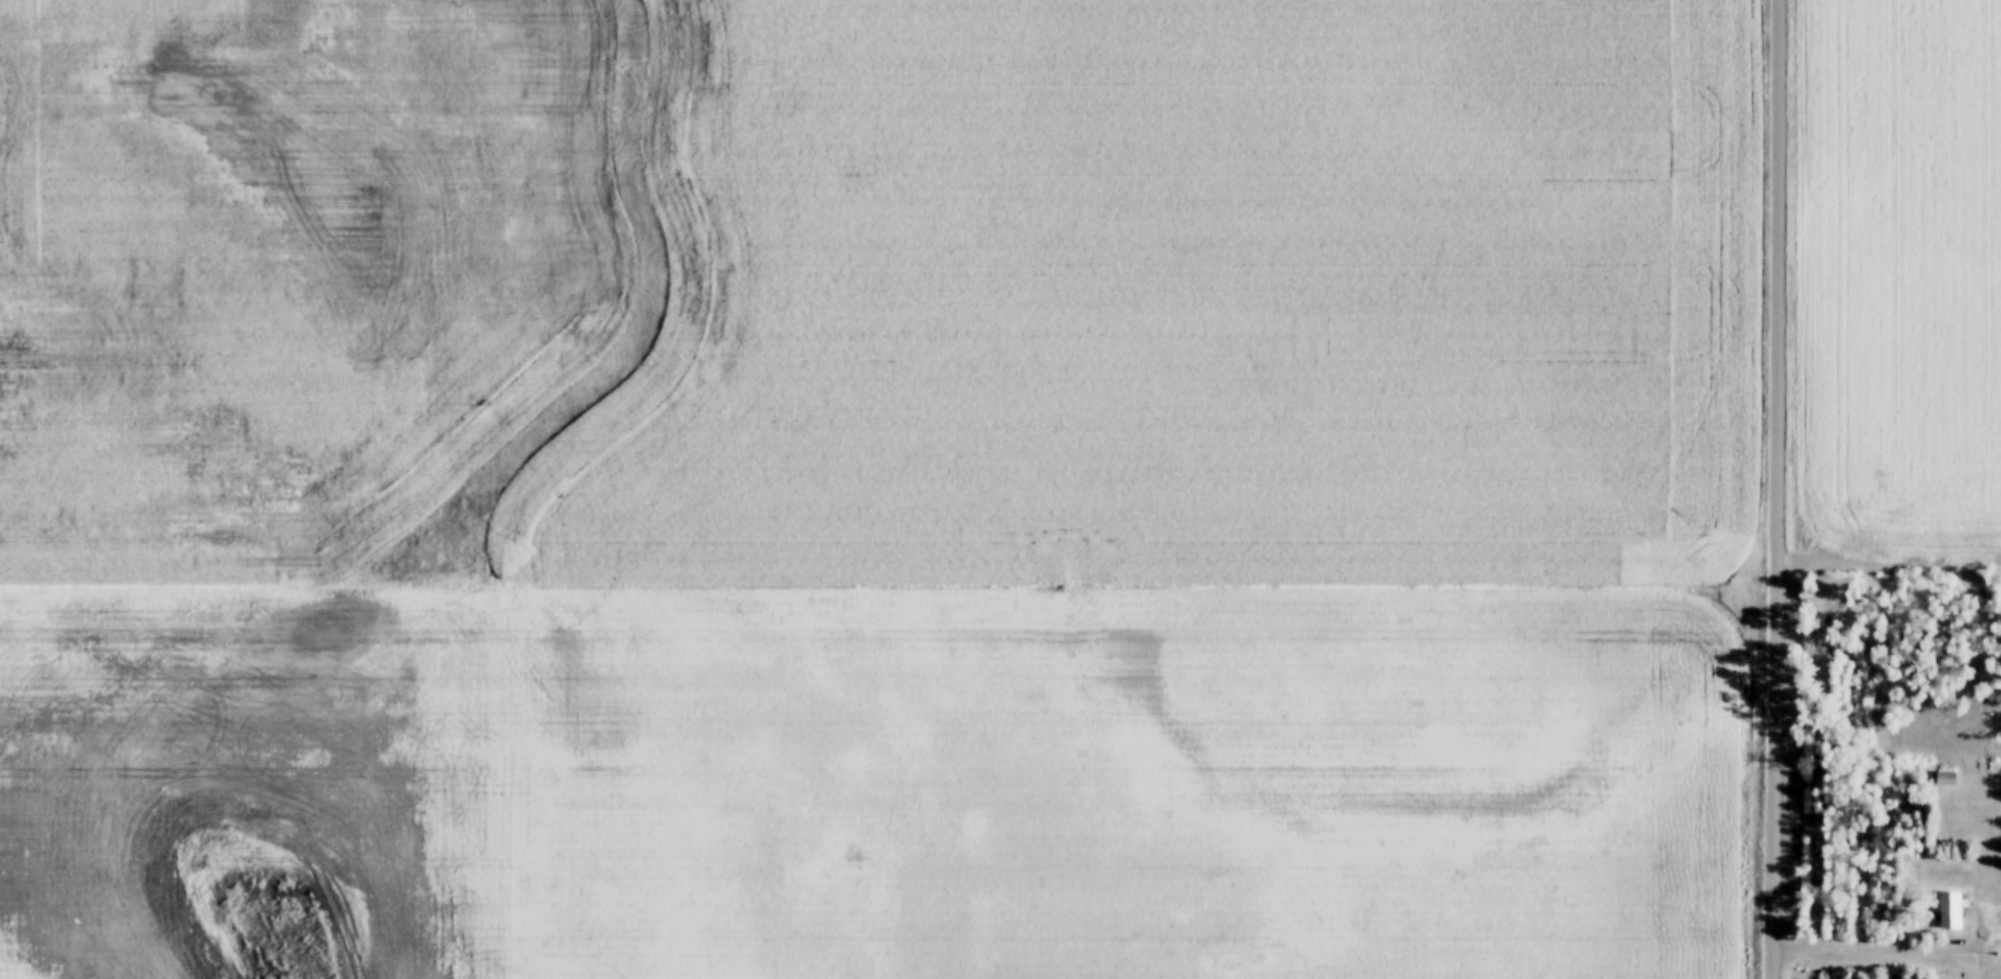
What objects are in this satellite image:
road: (1774, 489)
road: (1887, 560)
building: (1985, 773)
building: (1949, 910)
road: (1896, 949)

